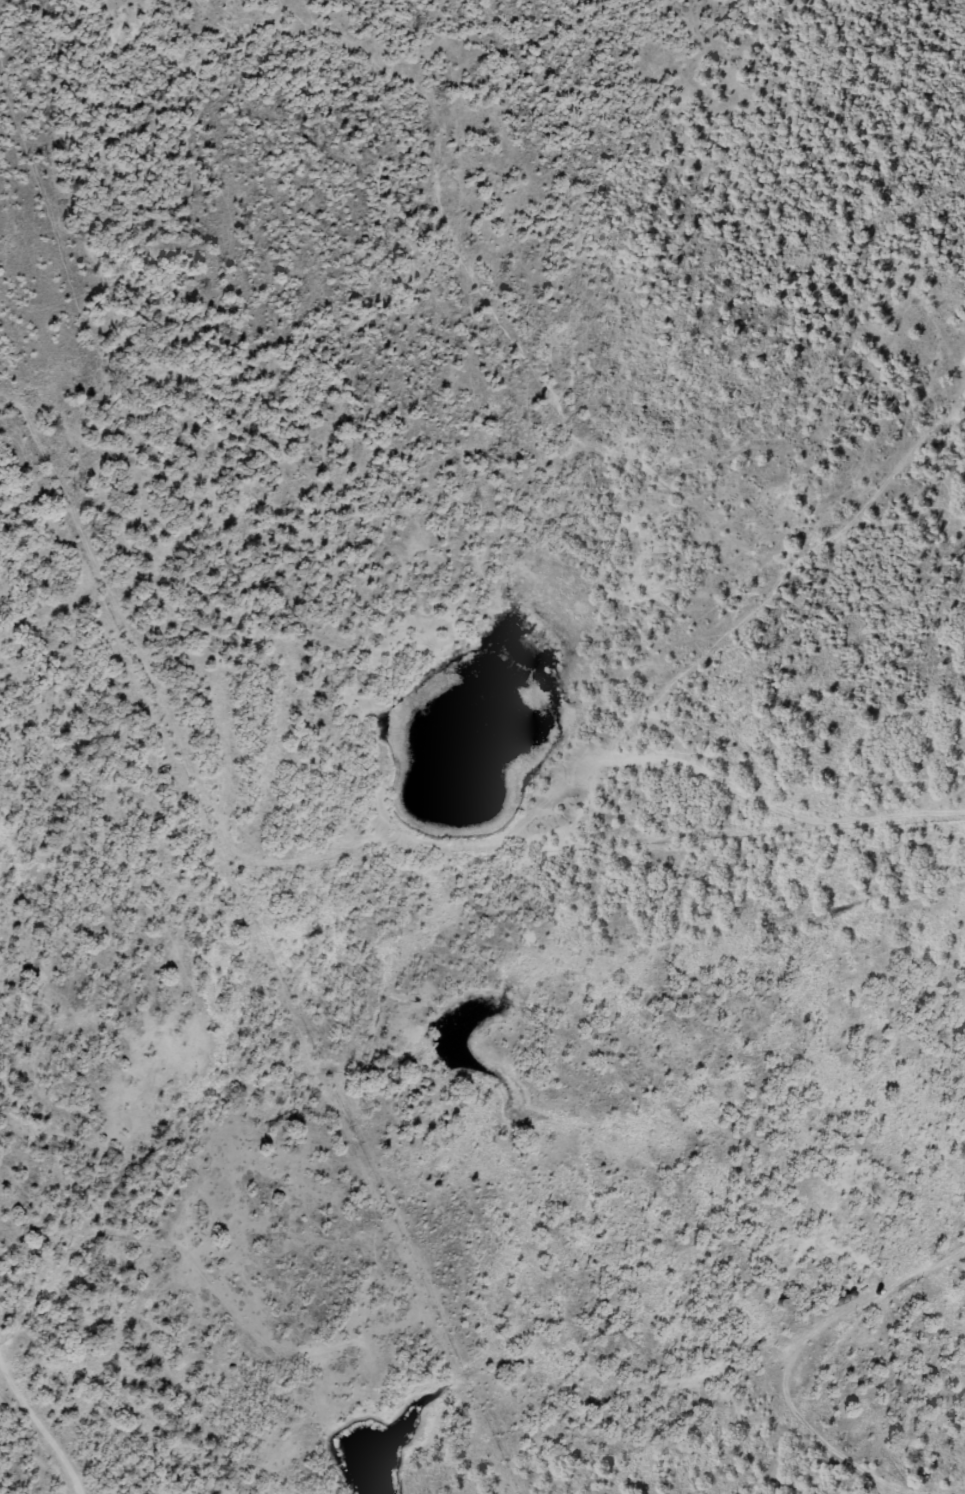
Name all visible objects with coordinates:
road: (289, 616)

